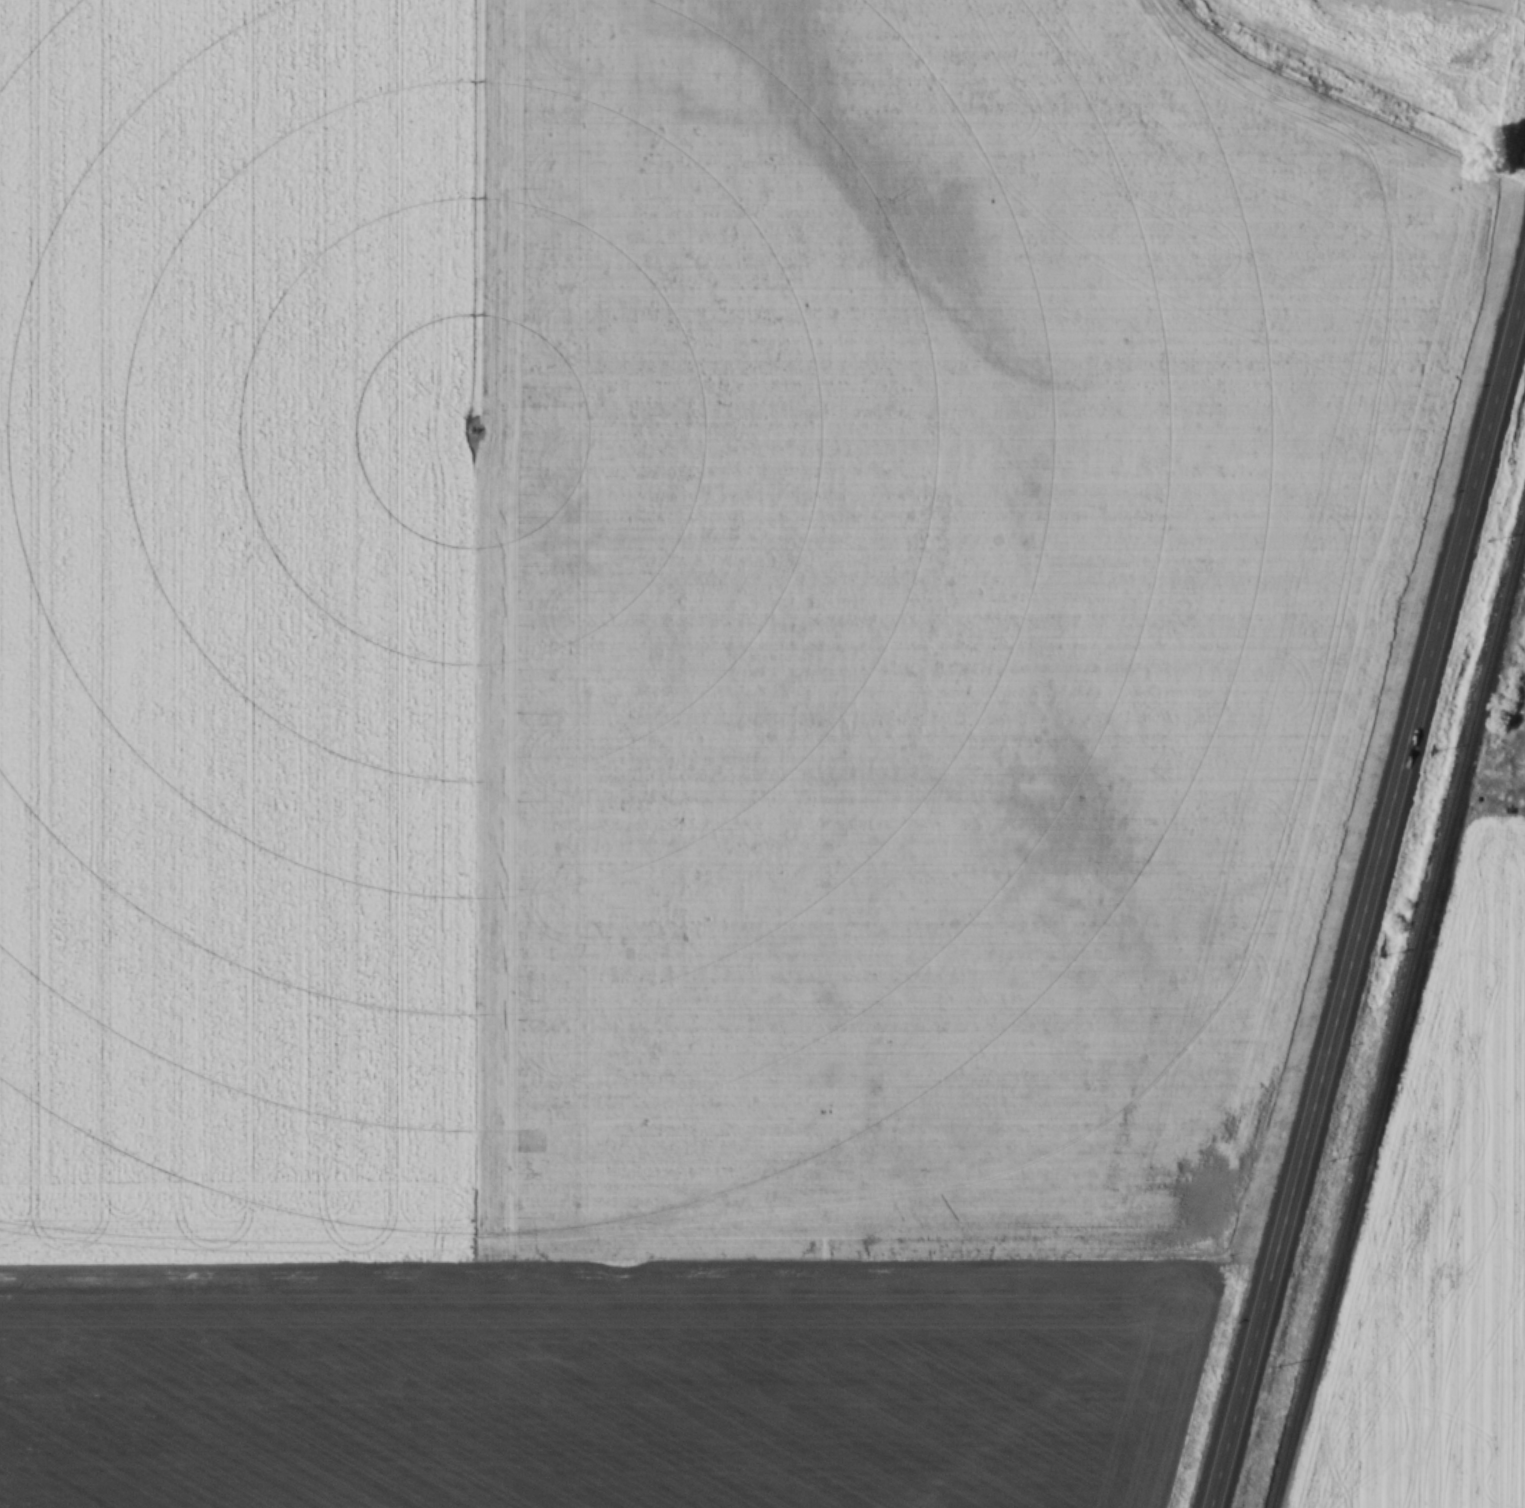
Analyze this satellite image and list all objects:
crop: (1502, 1)
road: (1370, 895)
railway: (1398, 1022)

